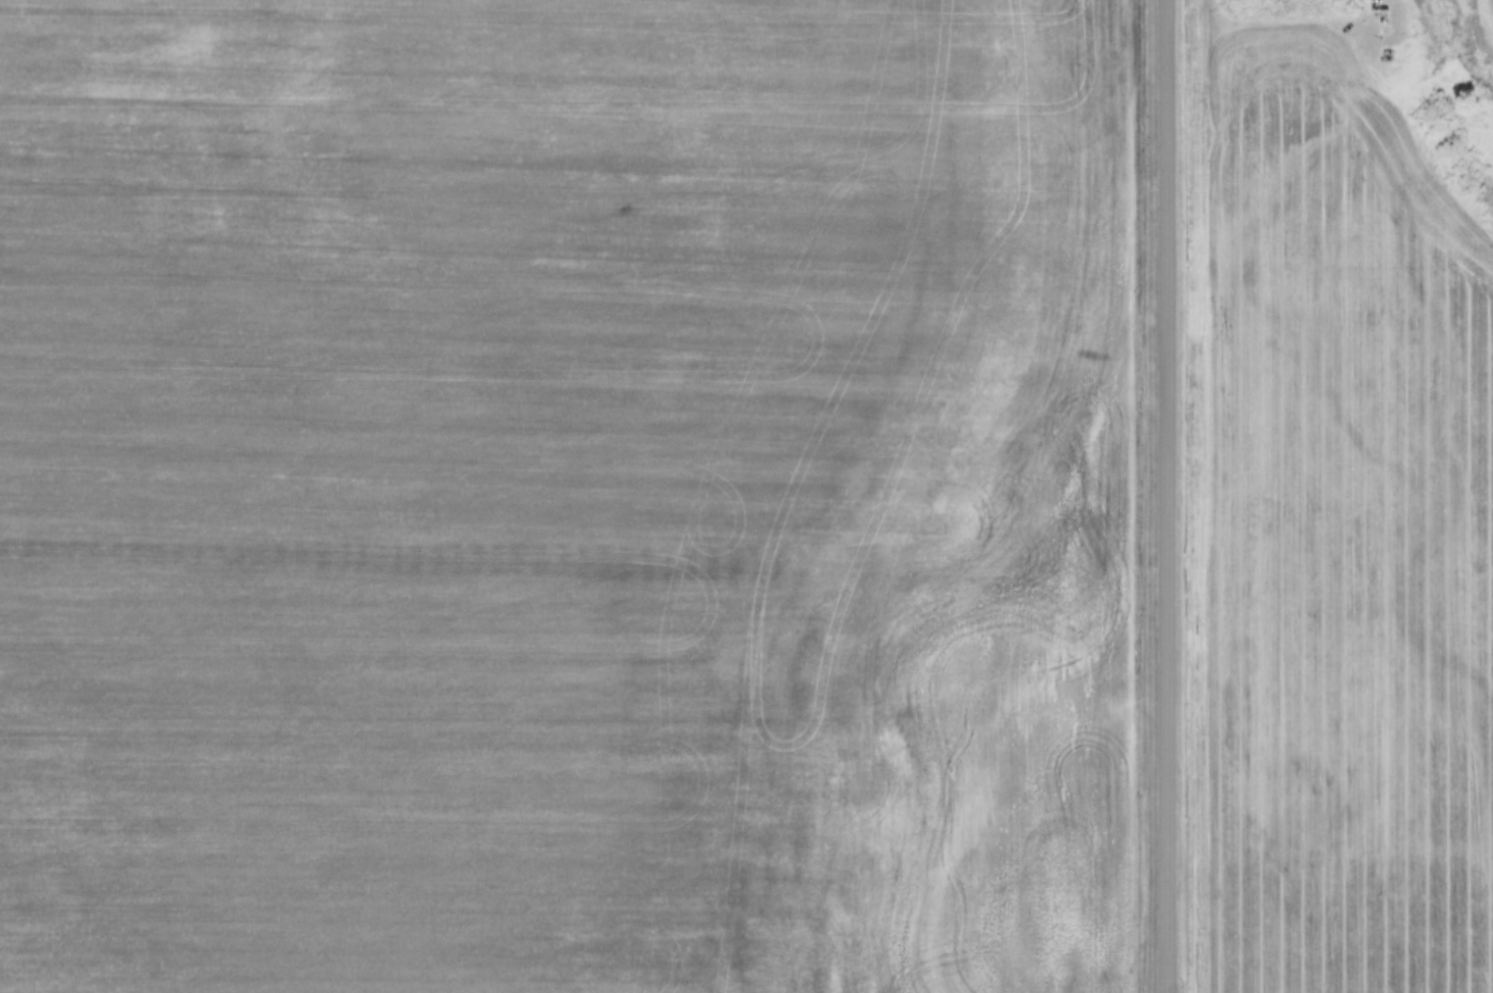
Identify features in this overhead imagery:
road: (1168, 496)

